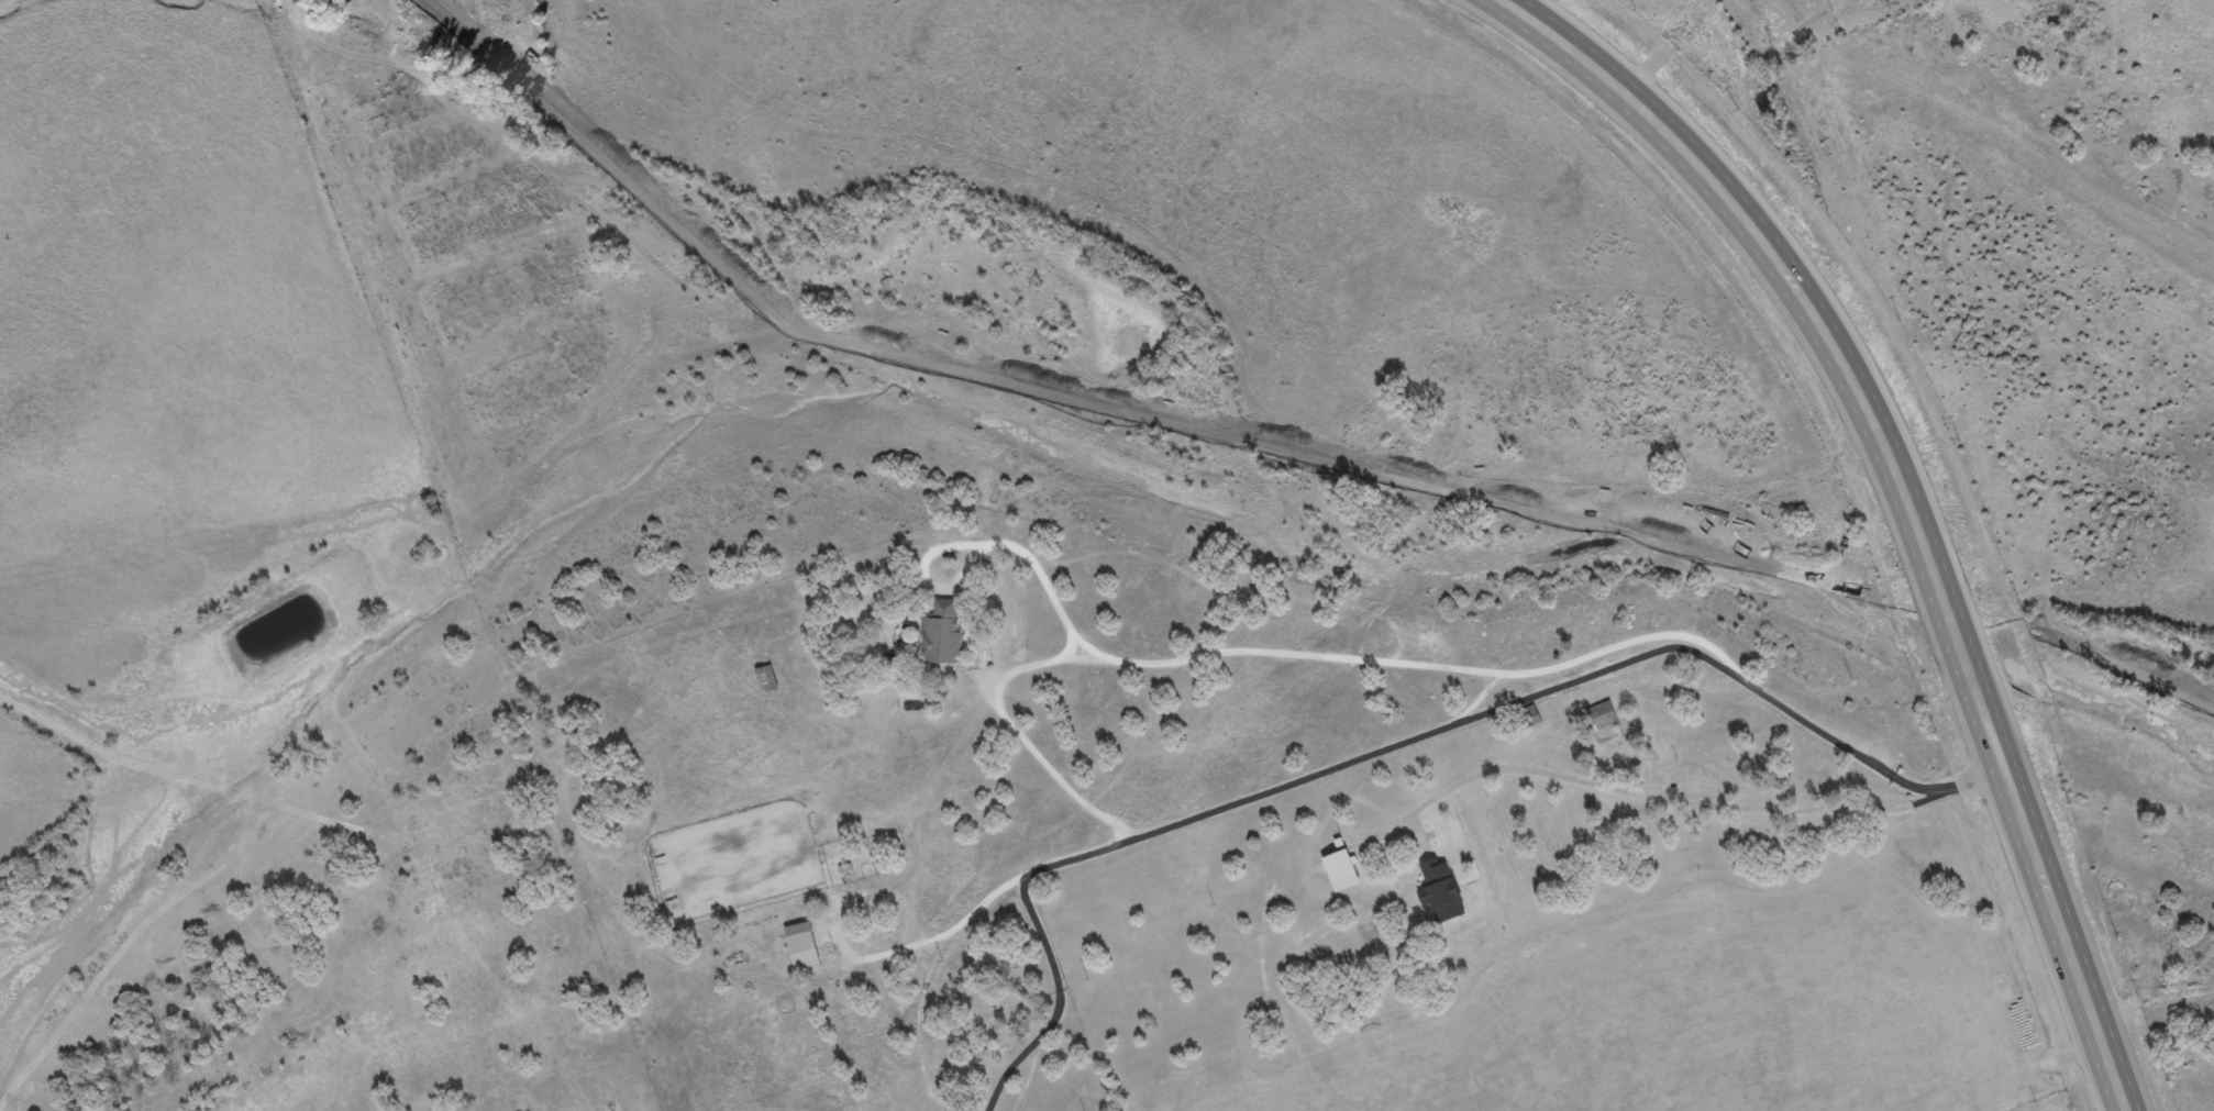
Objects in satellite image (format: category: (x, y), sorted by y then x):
road: (2193, 18)
road: (2047, 378)
road: (1905, 496)
building: (942, 633)
road: (1593, 653)
road: (1128, 663)
building: (766, 678)
building: (1601, 715)
road: (1016, 731)
road: (1397, 744)
road: (1669, 797)
building: (1341, 869)
building: (1440, 890)
road: (933, 937)
building: (801, 944)
road: (2150, 1001)

